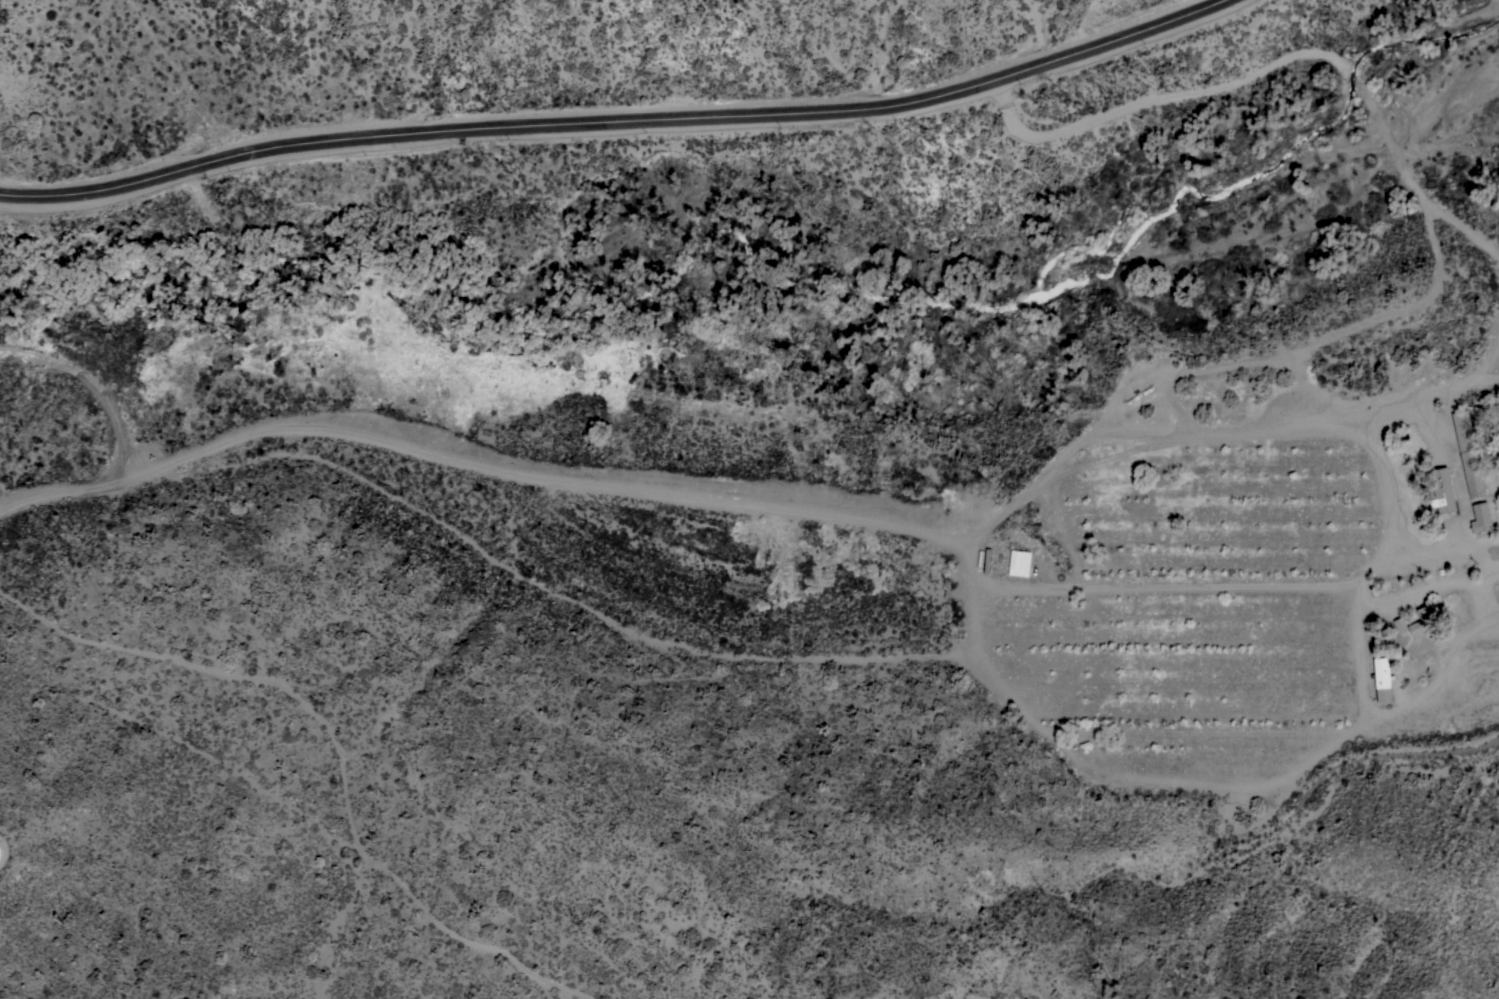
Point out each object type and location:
road: (1272, 63)
road: (618, 121)
road: (1477, 376)
building: (1468, 454)
building: (1442, 490)
road: (775, 510)
building: (1481, 517)
road: (1446, 548)
building: (1018, 562)
road: (1249, 586)
building: (1423, 619)
building: (1399, 625)
building: (1382, 679)
building: (0, 851)

